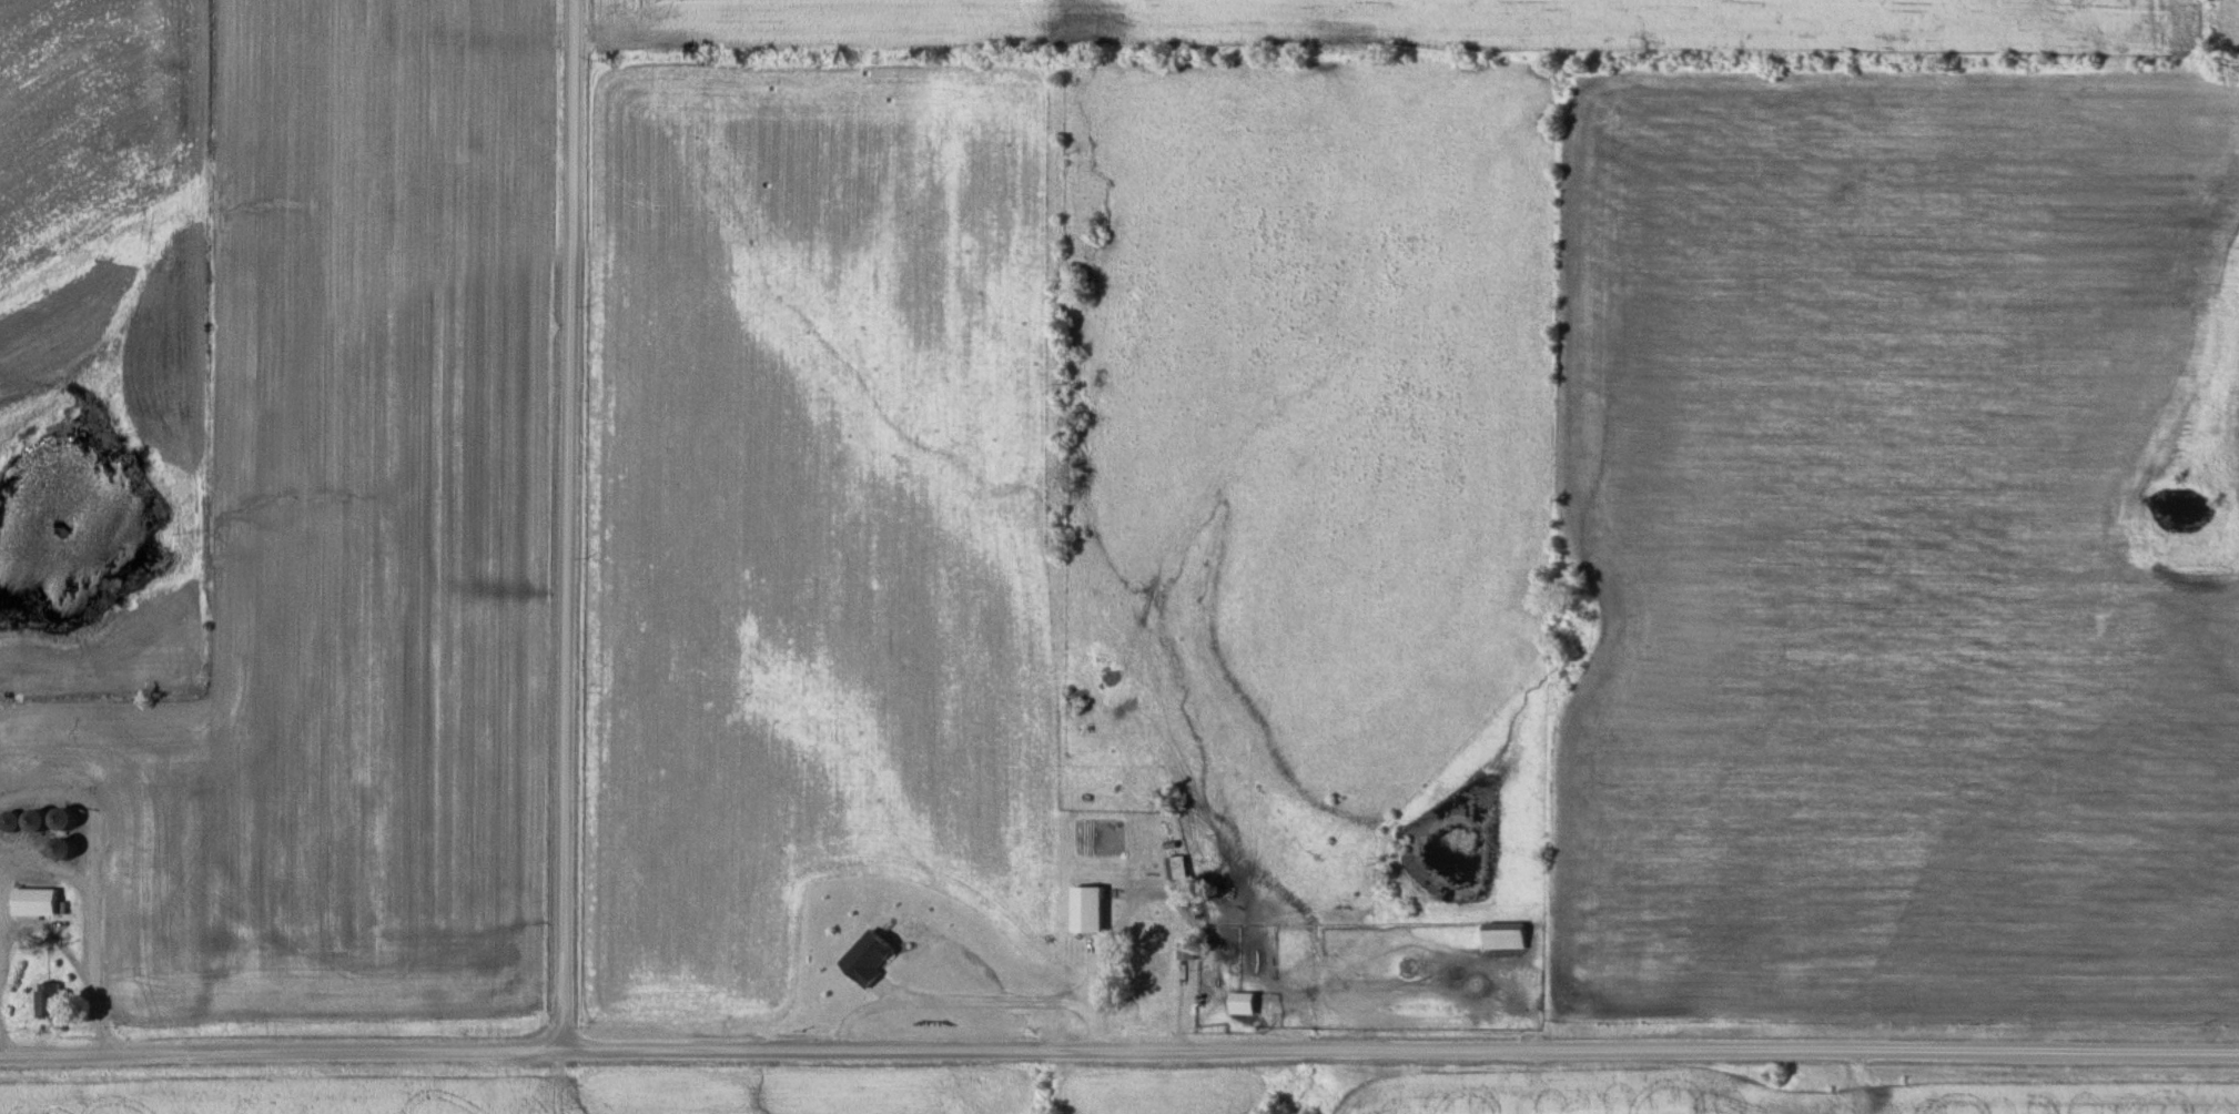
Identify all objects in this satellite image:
road: (567, 524)
road: (1400, 1049)
road: (281, 1052)

